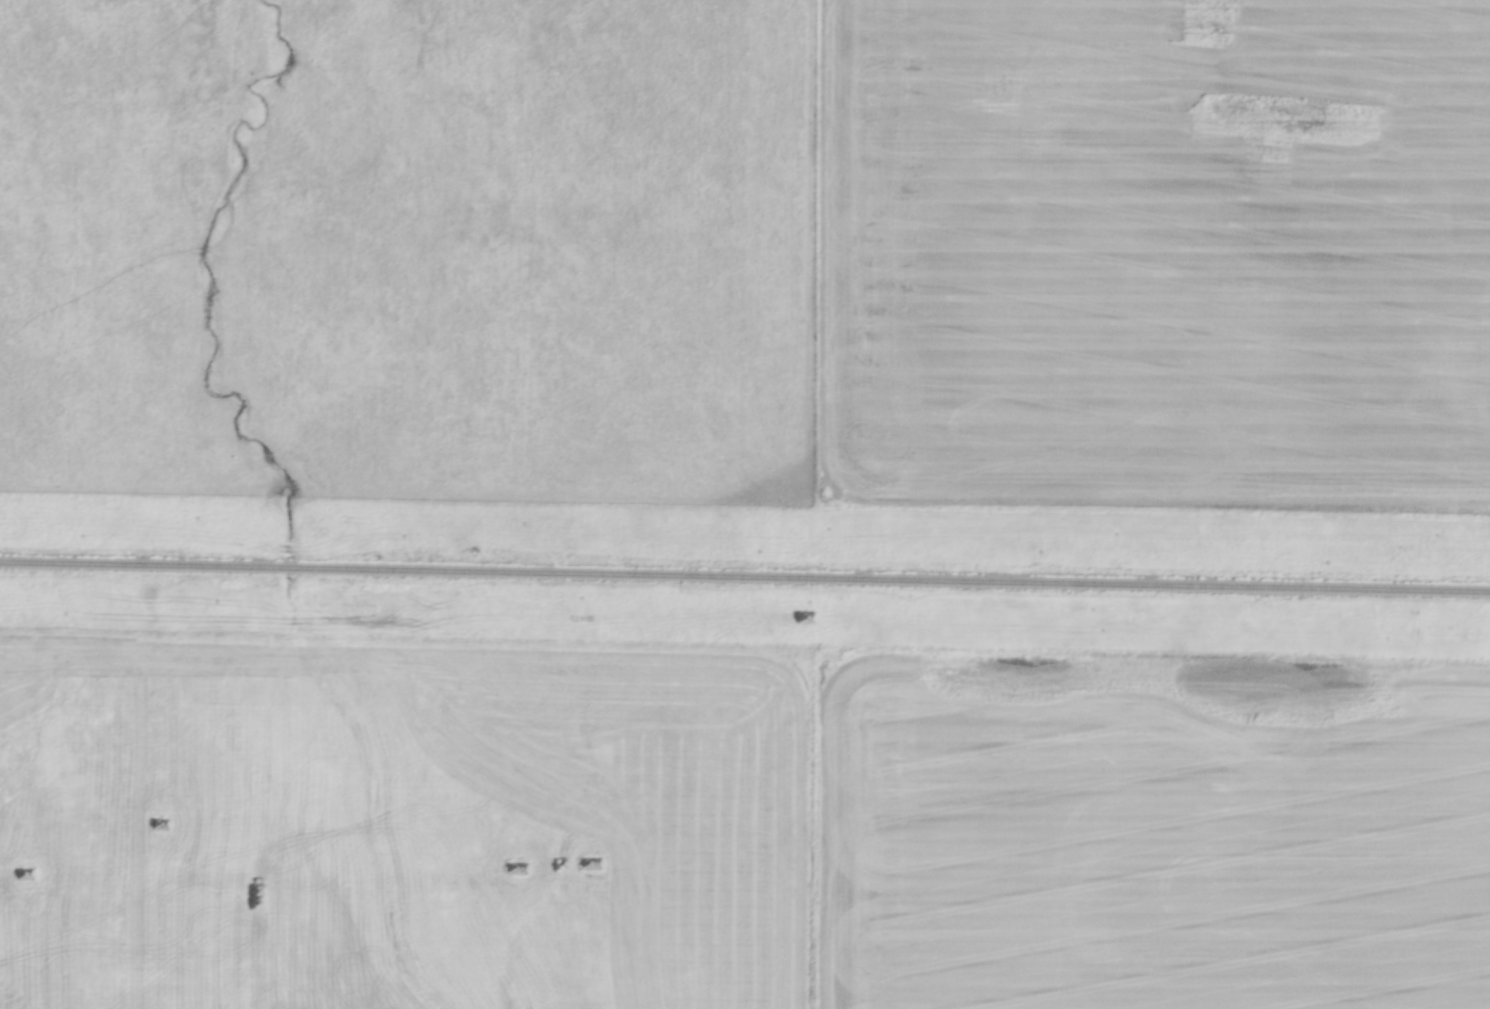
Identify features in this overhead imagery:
railway: (745, 578)

